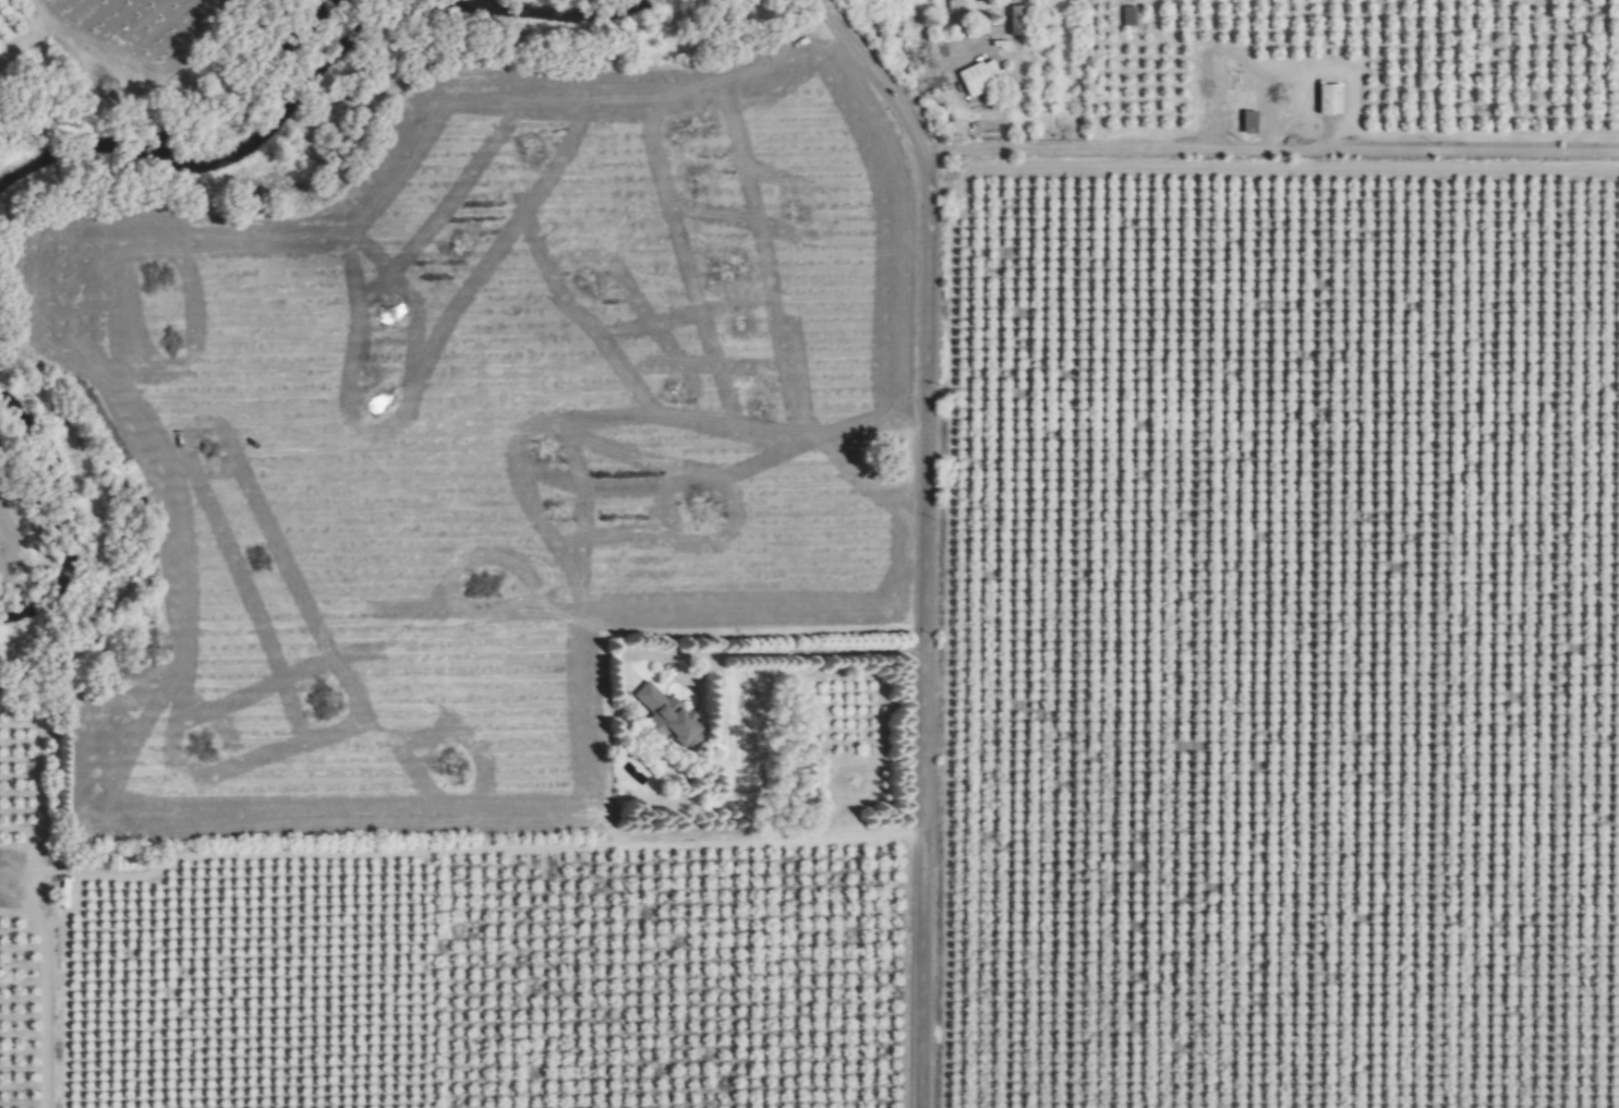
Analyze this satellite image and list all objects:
building: (966, 8)
building: (1125, 15)
building: (1012, 20)
building: (975, 75)
building: (1216, 84)
building: (1325, 98)
building: (1245, 121)
road: (1060, 150)
road: (925, 535)
road: (759, 650)
building: (664, 716)

